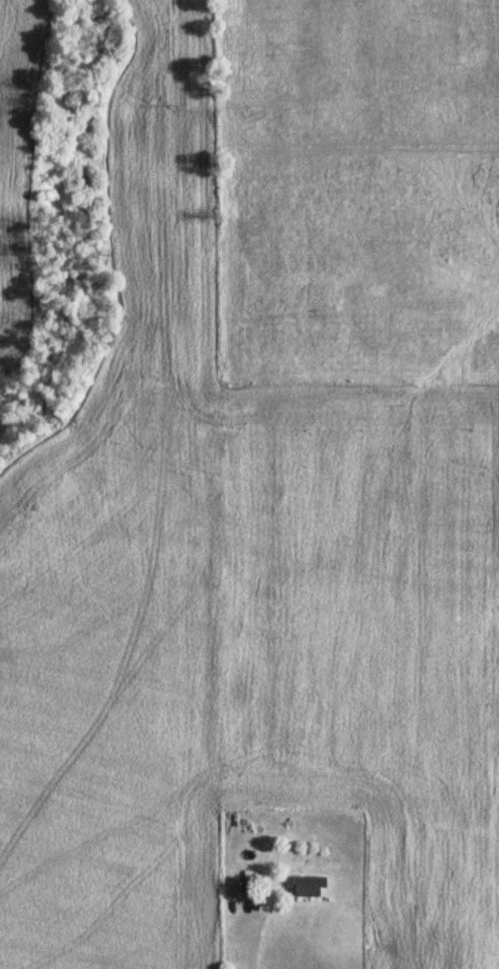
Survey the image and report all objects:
building: (306, 886)

